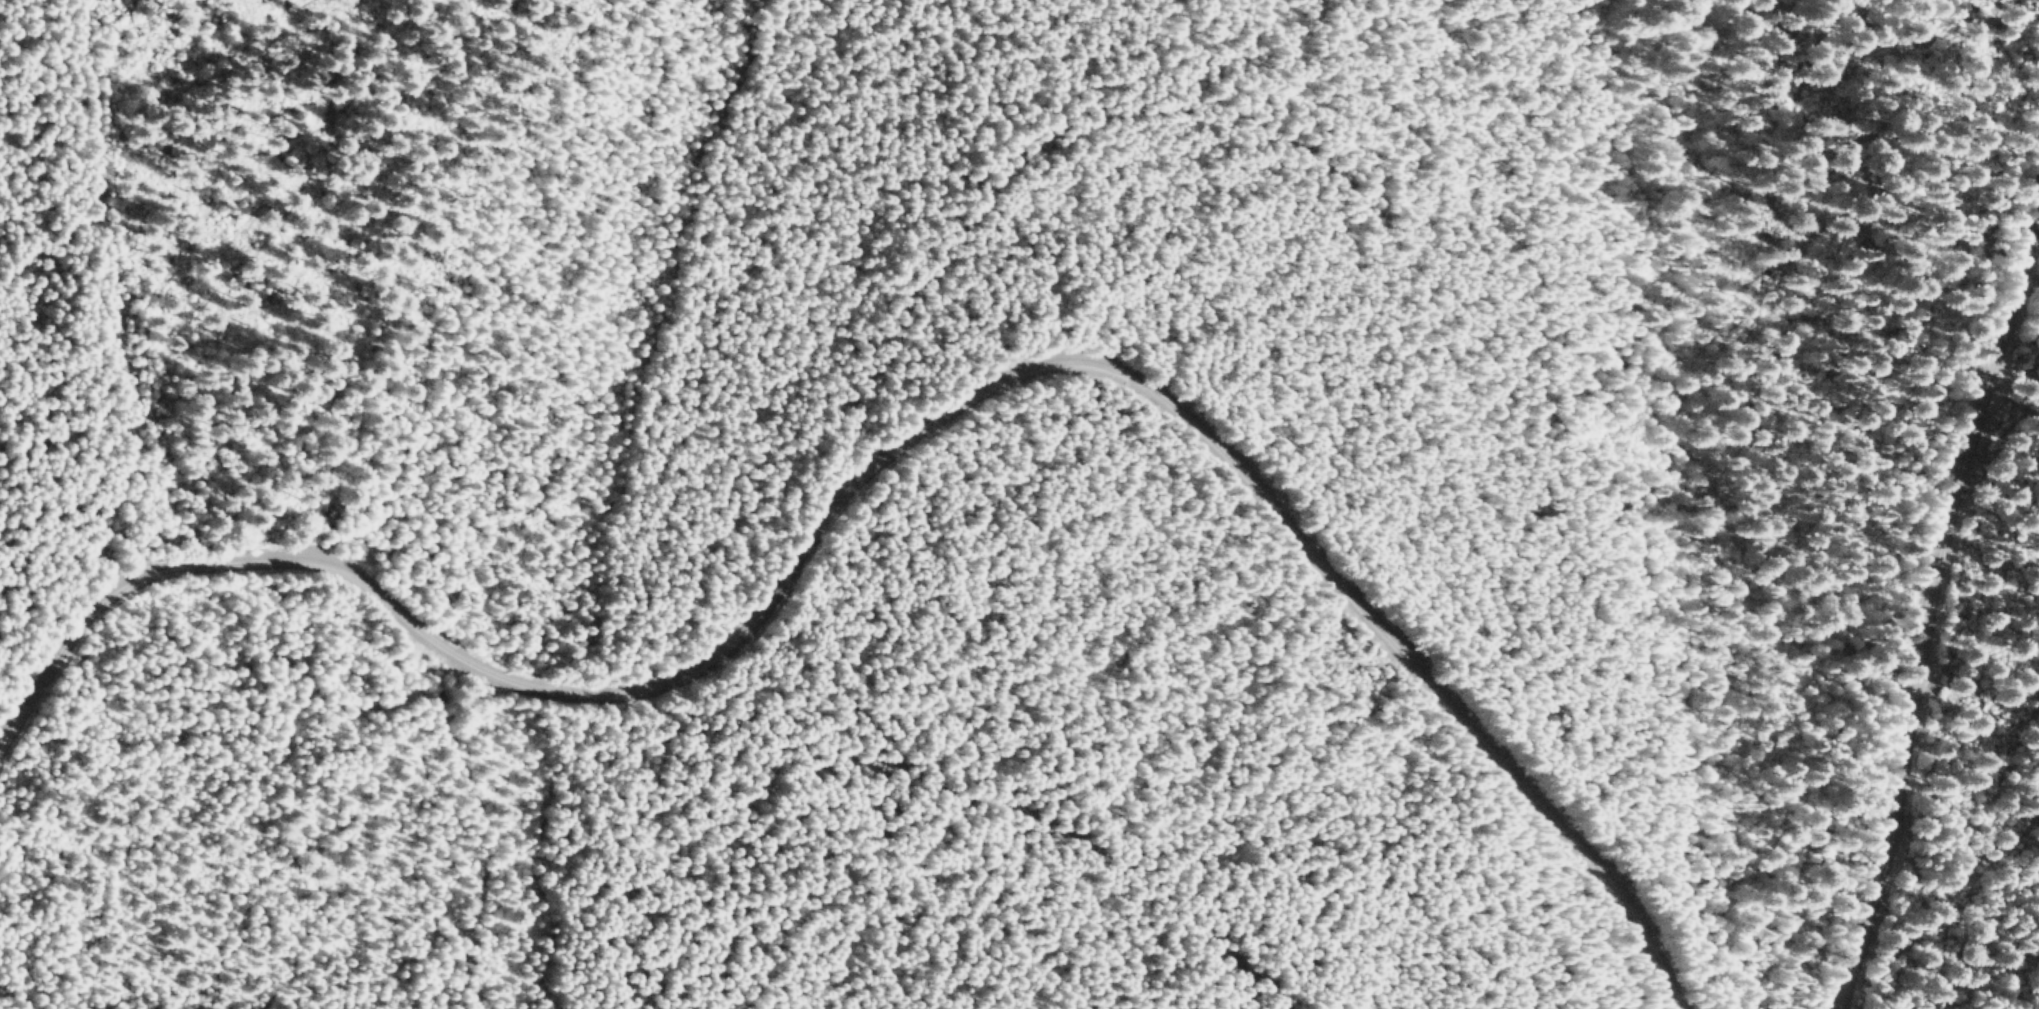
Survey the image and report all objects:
road: (893, 453)
road: (1929, 586)

